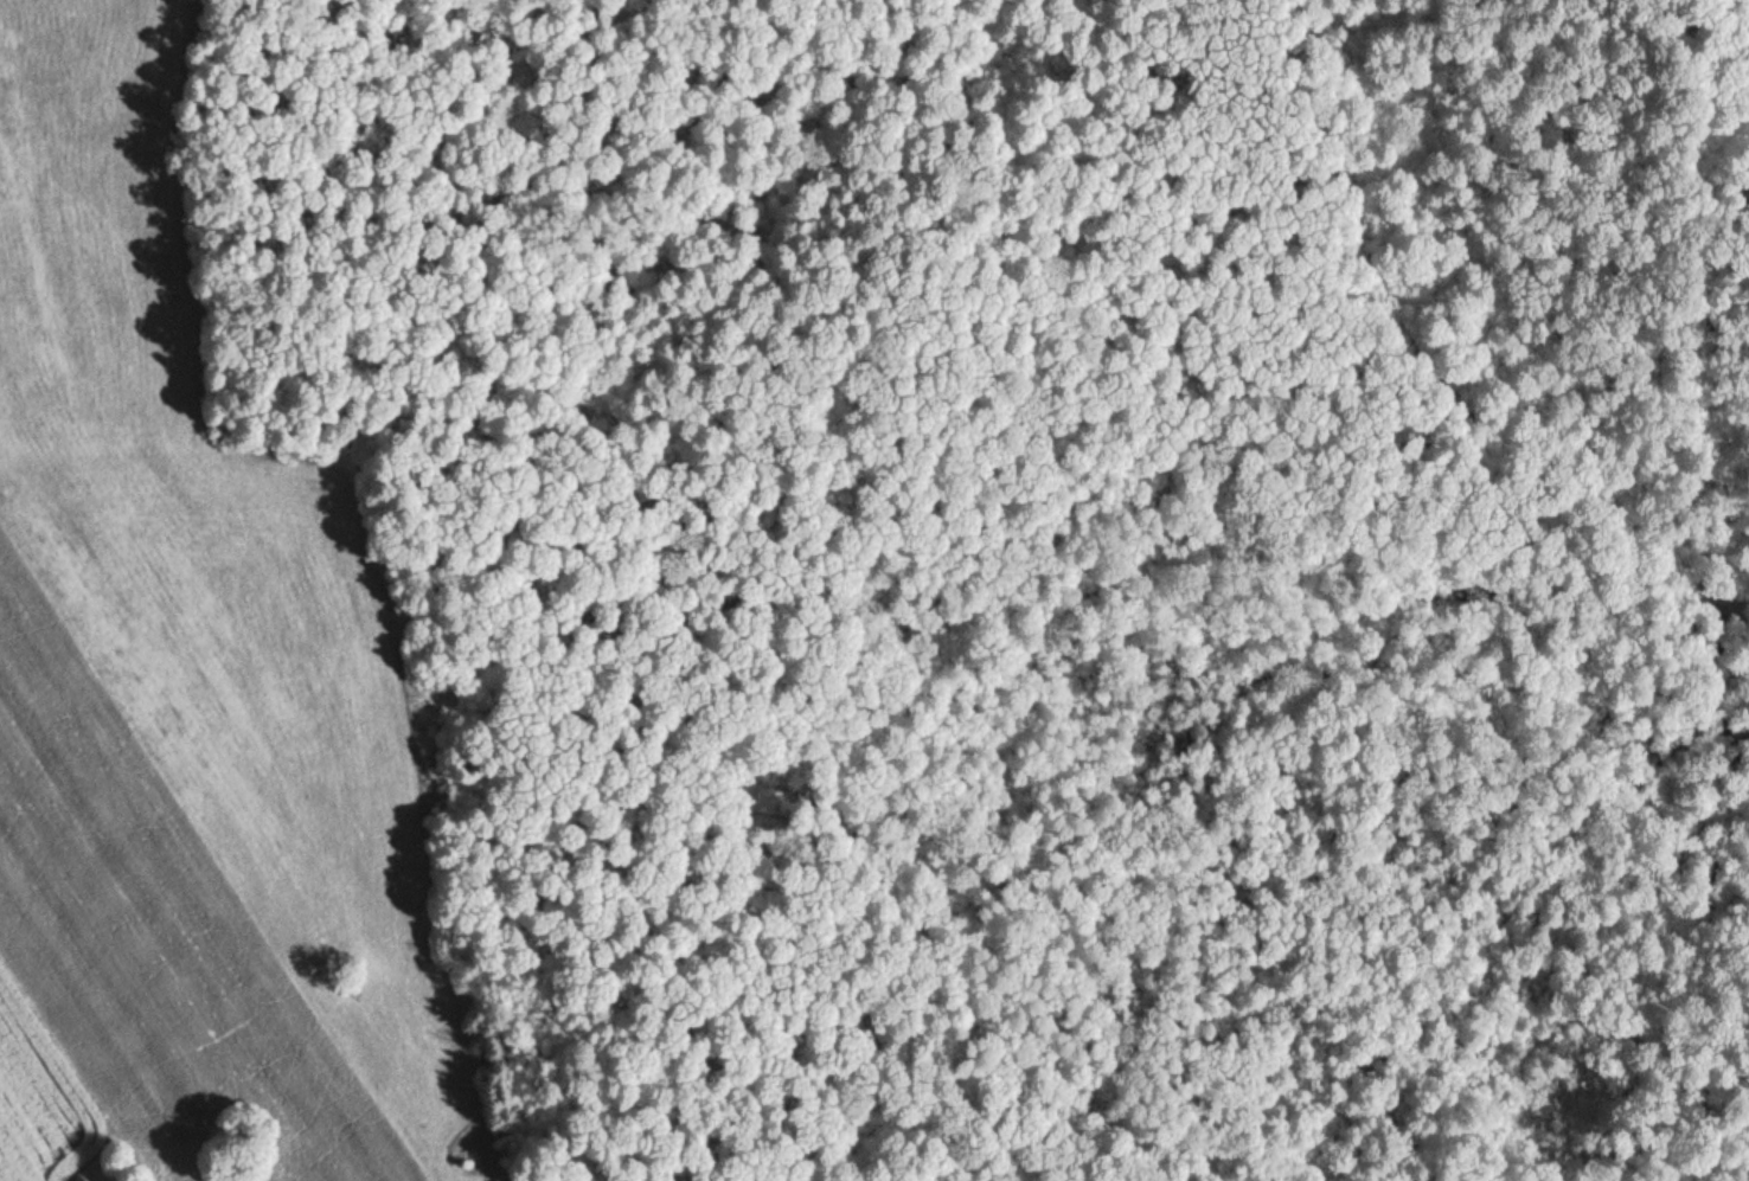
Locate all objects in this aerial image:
road: (1431, 368)

